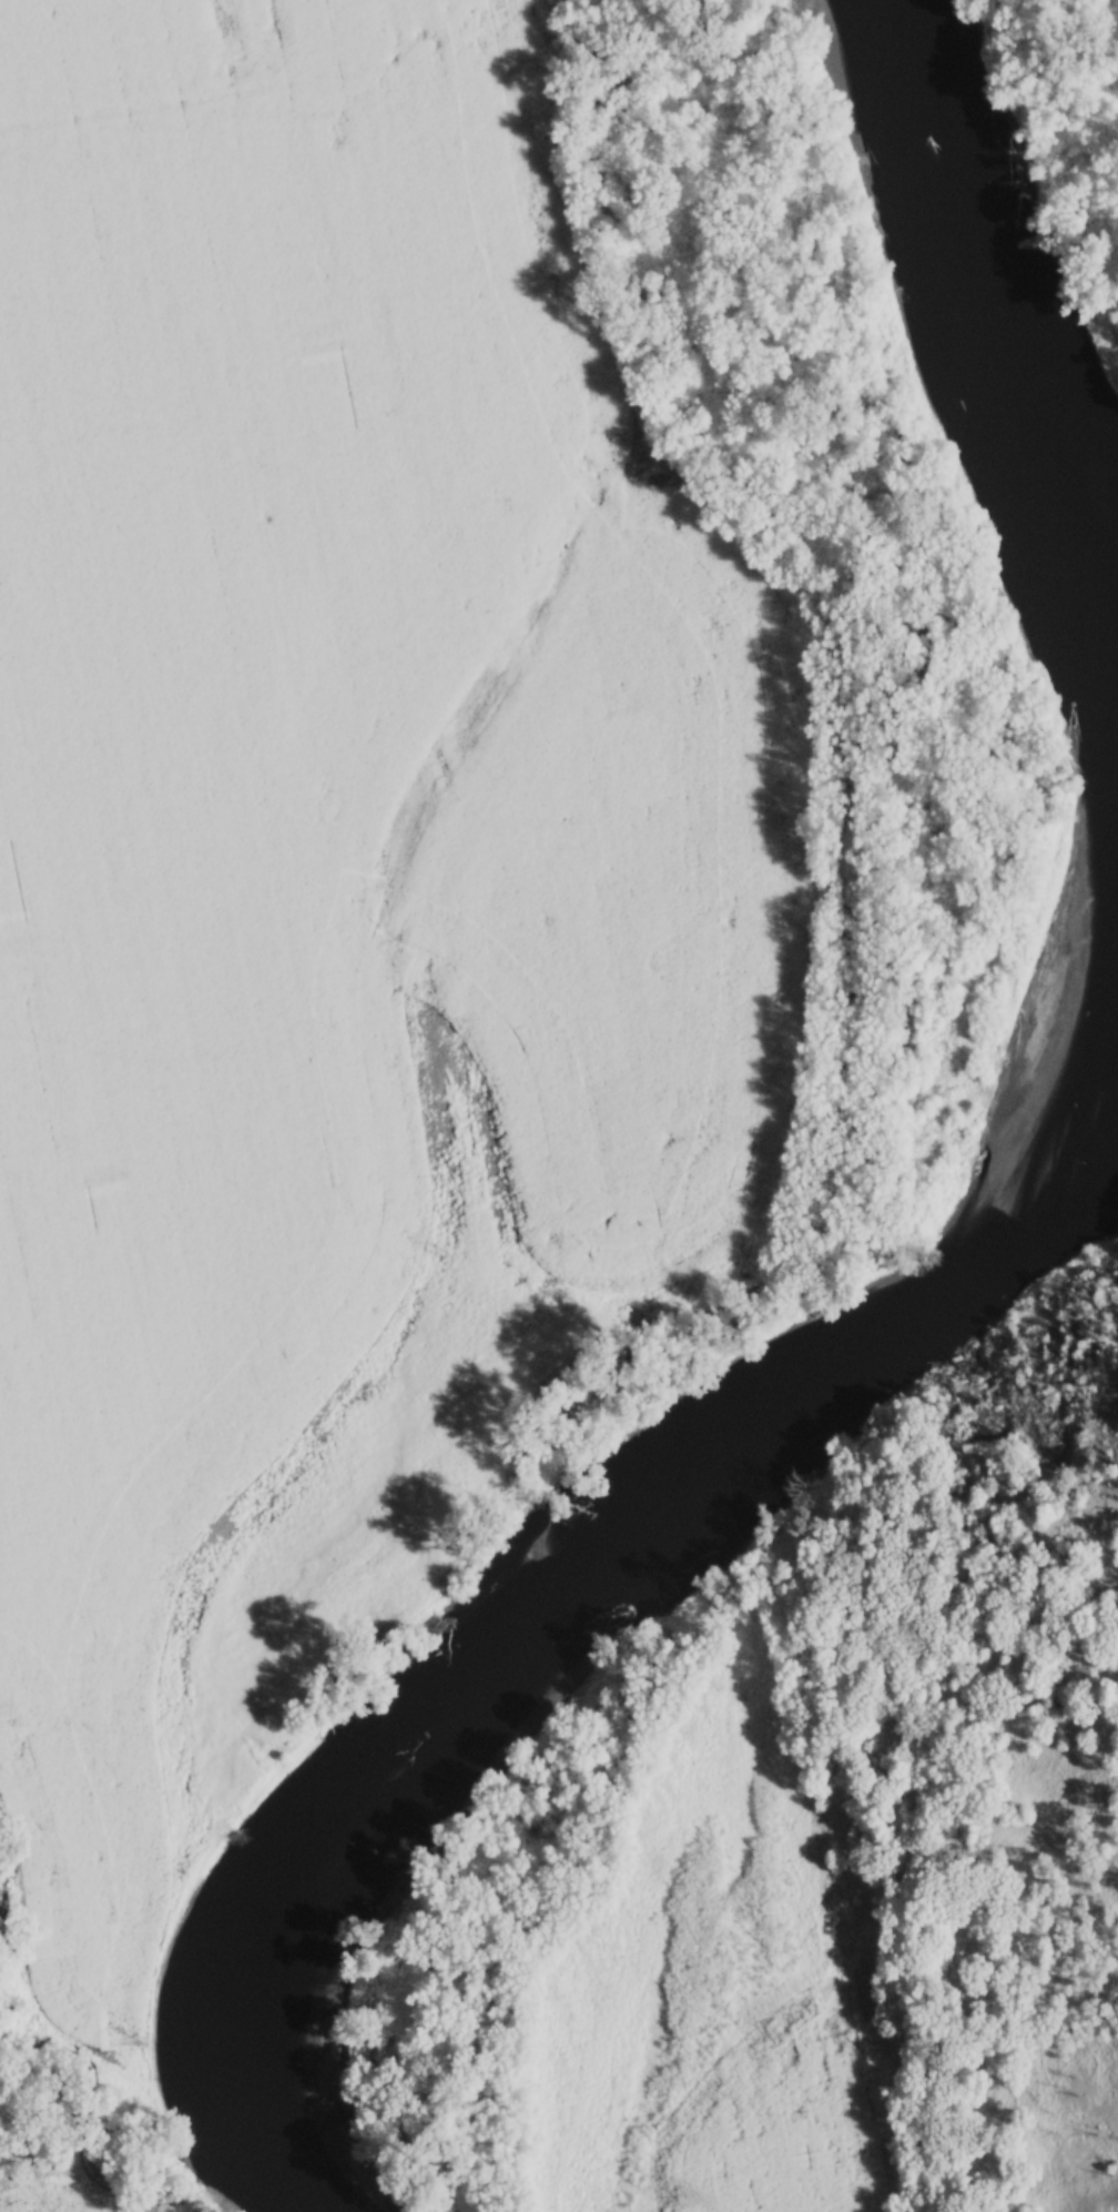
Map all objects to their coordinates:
road: (228, 93)
river: (1007, 285)
river: (618, 1543)

